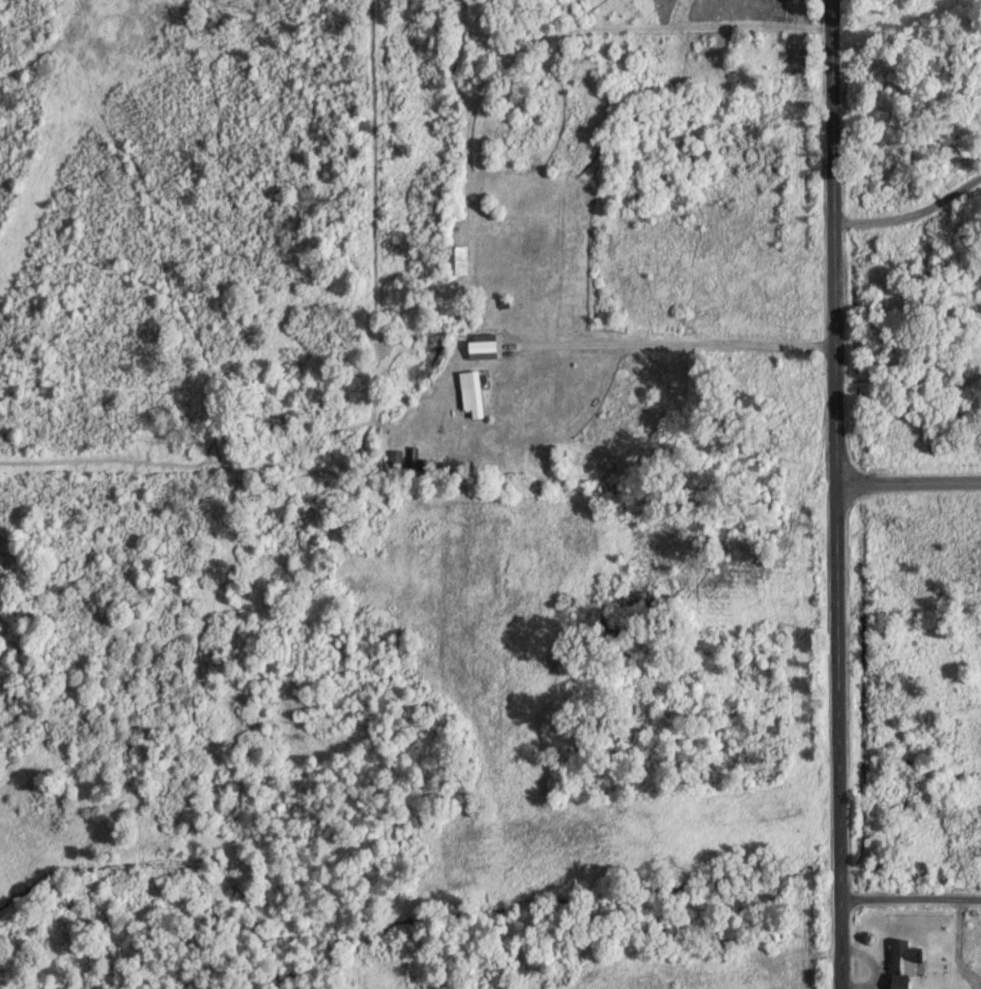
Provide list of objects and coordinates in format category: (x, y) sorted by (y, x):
road: (914, 213)
building: (460, 264)
road: (682, 333)
building: (488, 348)
building: (477, 395)
building: (400, 460)
road: (911, 489)
road: (842, 494)
road: (911, 896)
building: (905, 964)

